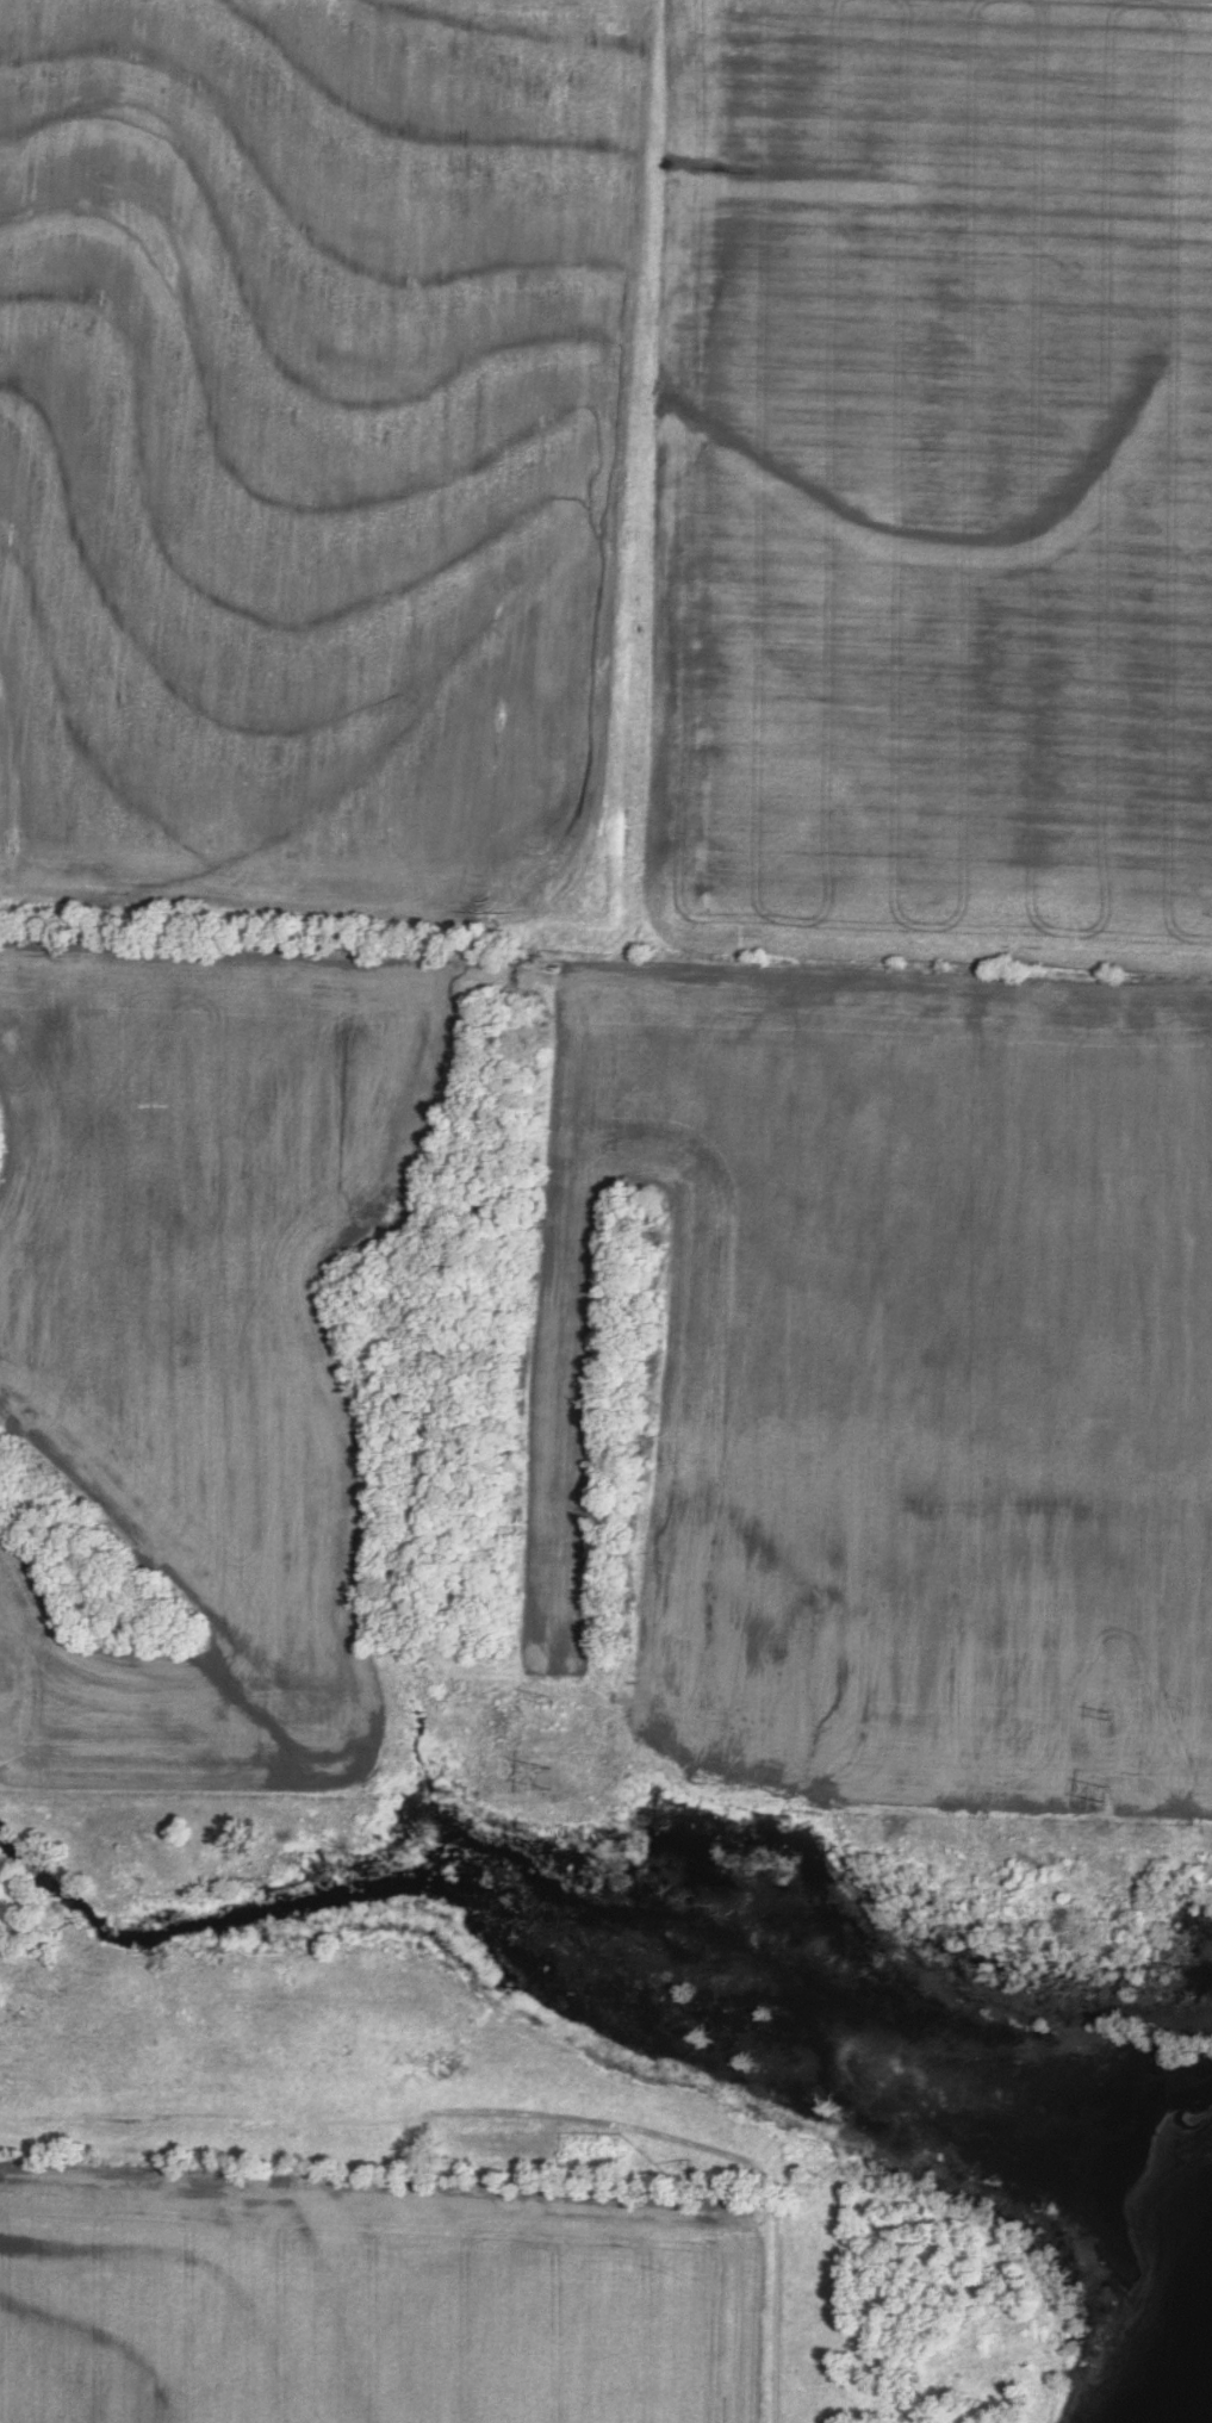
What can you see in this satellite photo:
power tower: (549, 1692)
power tower: (1111, 1713)
power tower: (548, 1775)
power tower: (1108, 1794)

